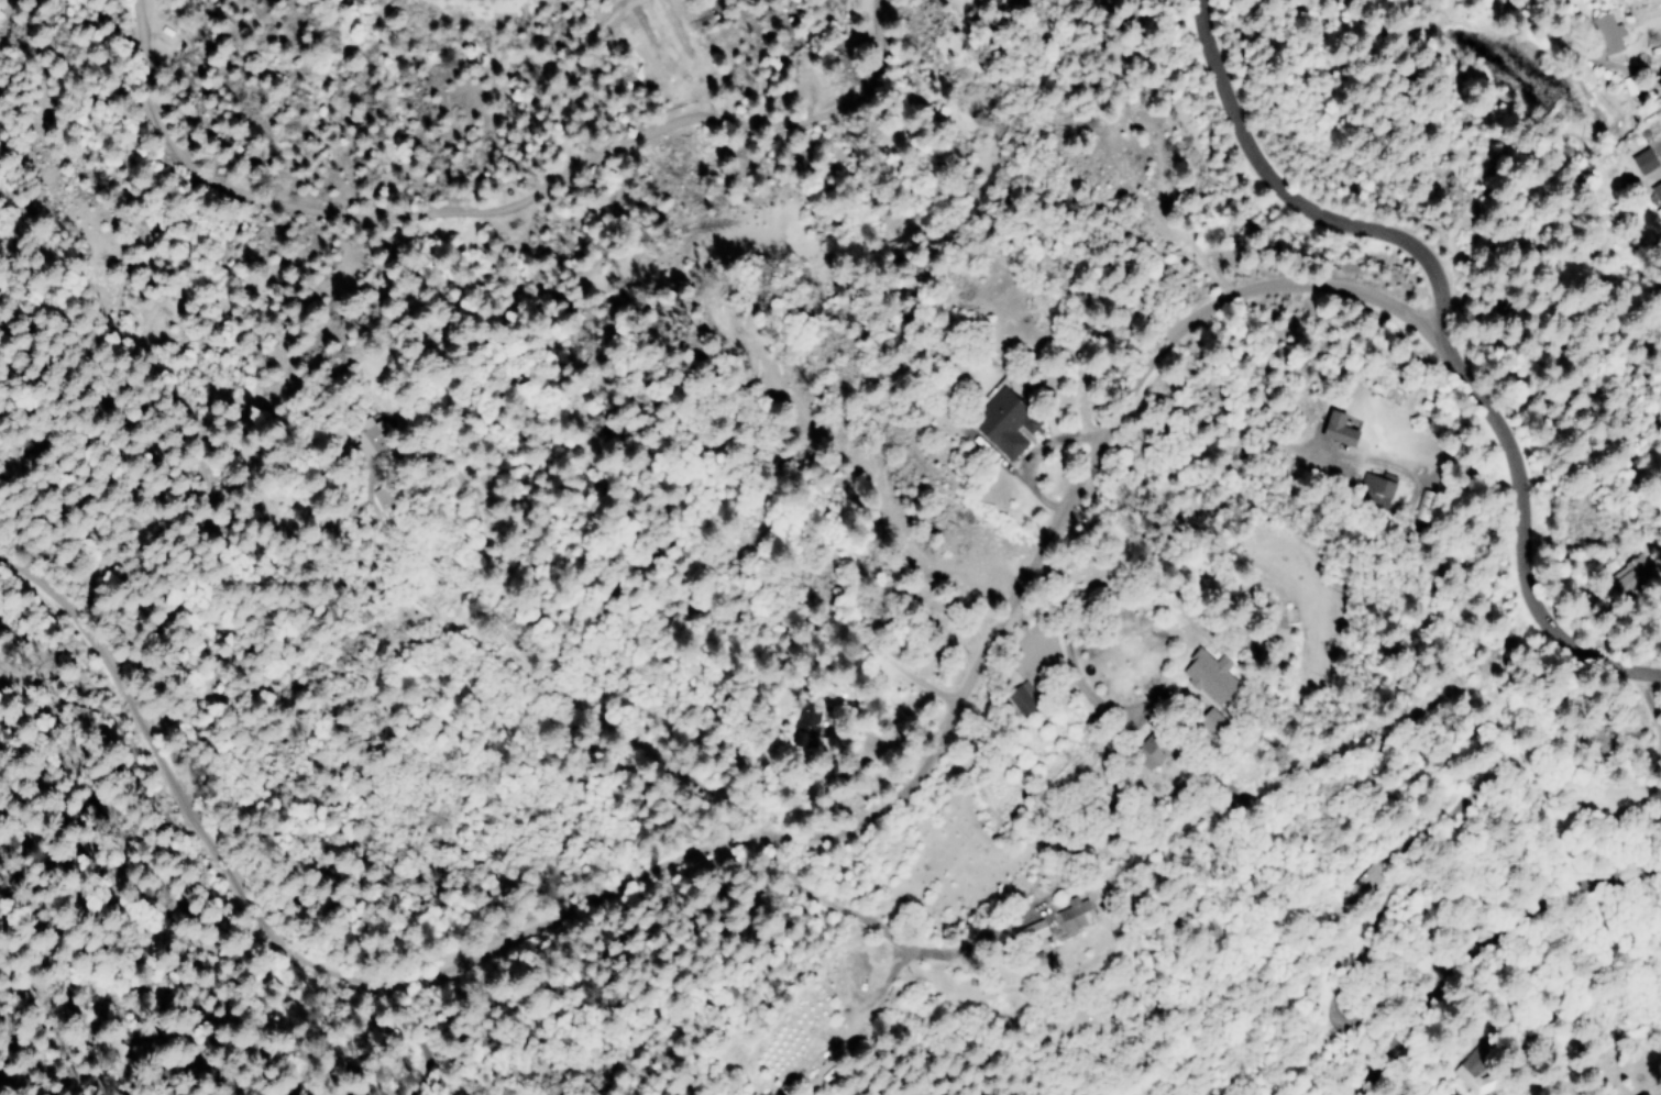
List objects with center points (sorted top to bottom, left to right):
building: (1603, 34)
building: (1639, 162)
road: (449, 178)
building: (1656, 193)
road: (1292, 204)
building: (1008, 421)
building: (1342, 429)
building: (371, 434)
road: (1148, 442)
building: (1377, 488)
building: (1429, 505)
road: (1520, 538)
building: (1212, 678)
building: (1024, 698)
building: (805, 730)
building: (1157, 745)
road: (747, 860)
building: (1360, 884)
building: (1079, 914)
building: (1036, 931)
road: (1482, 960)
building: (1472, 1082)

